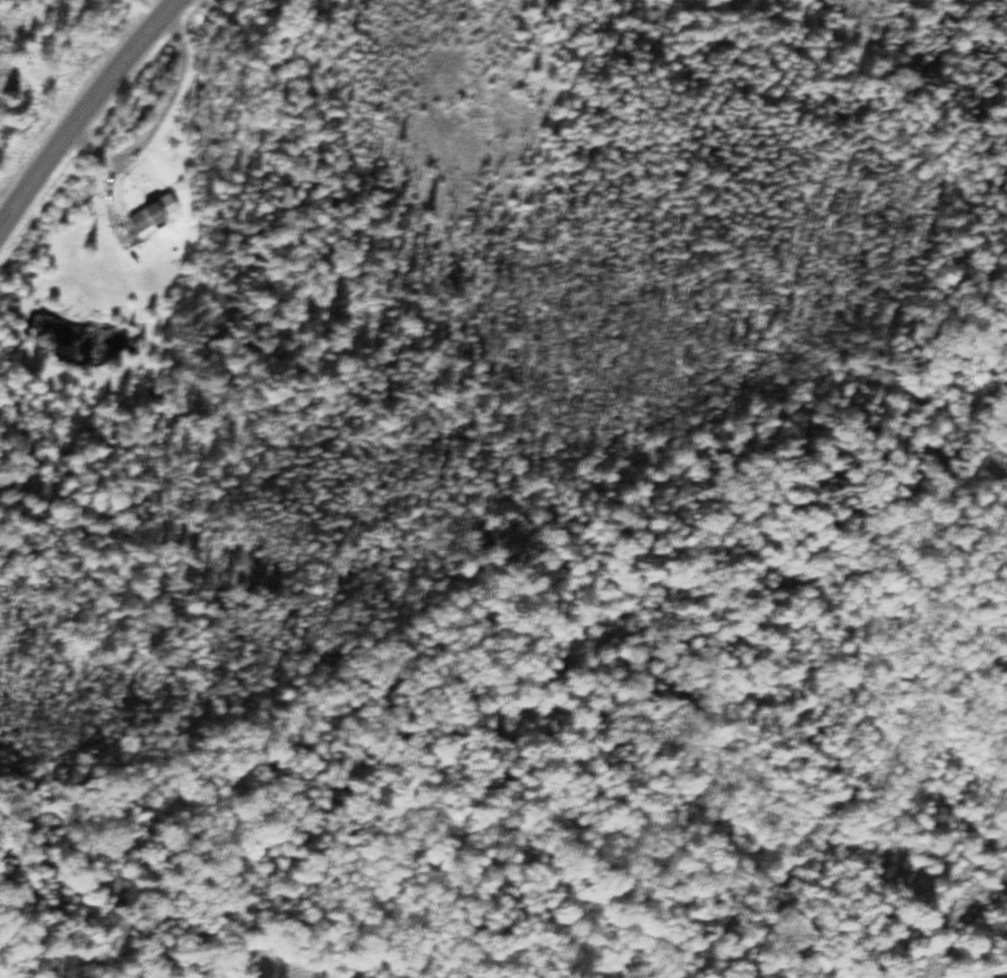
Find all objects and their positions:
road: (82, 111)
building: (152, 213)

